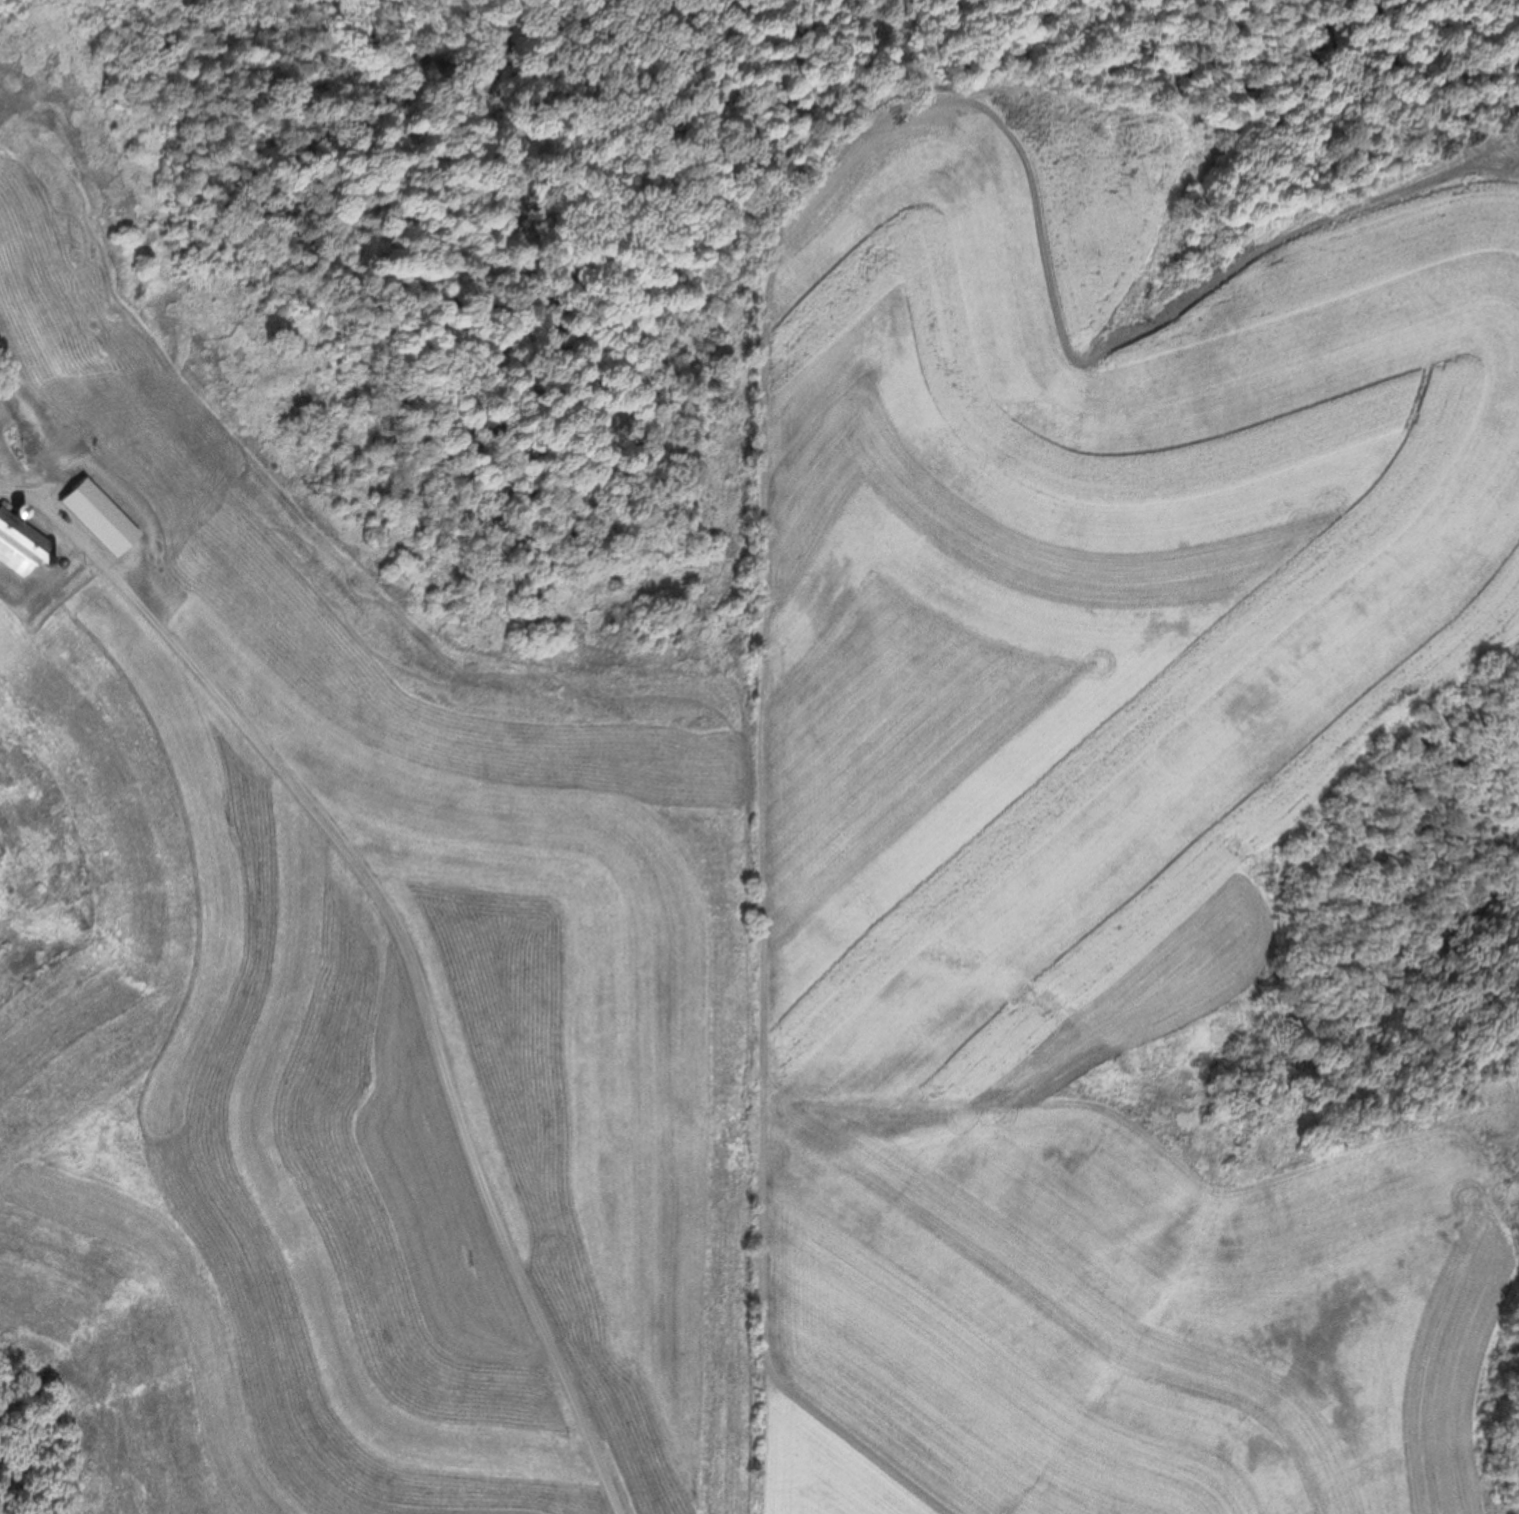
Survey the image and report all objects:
building: (43, 457)
building: (94, 515)
building: (16, 544)
road: (403, 951)

